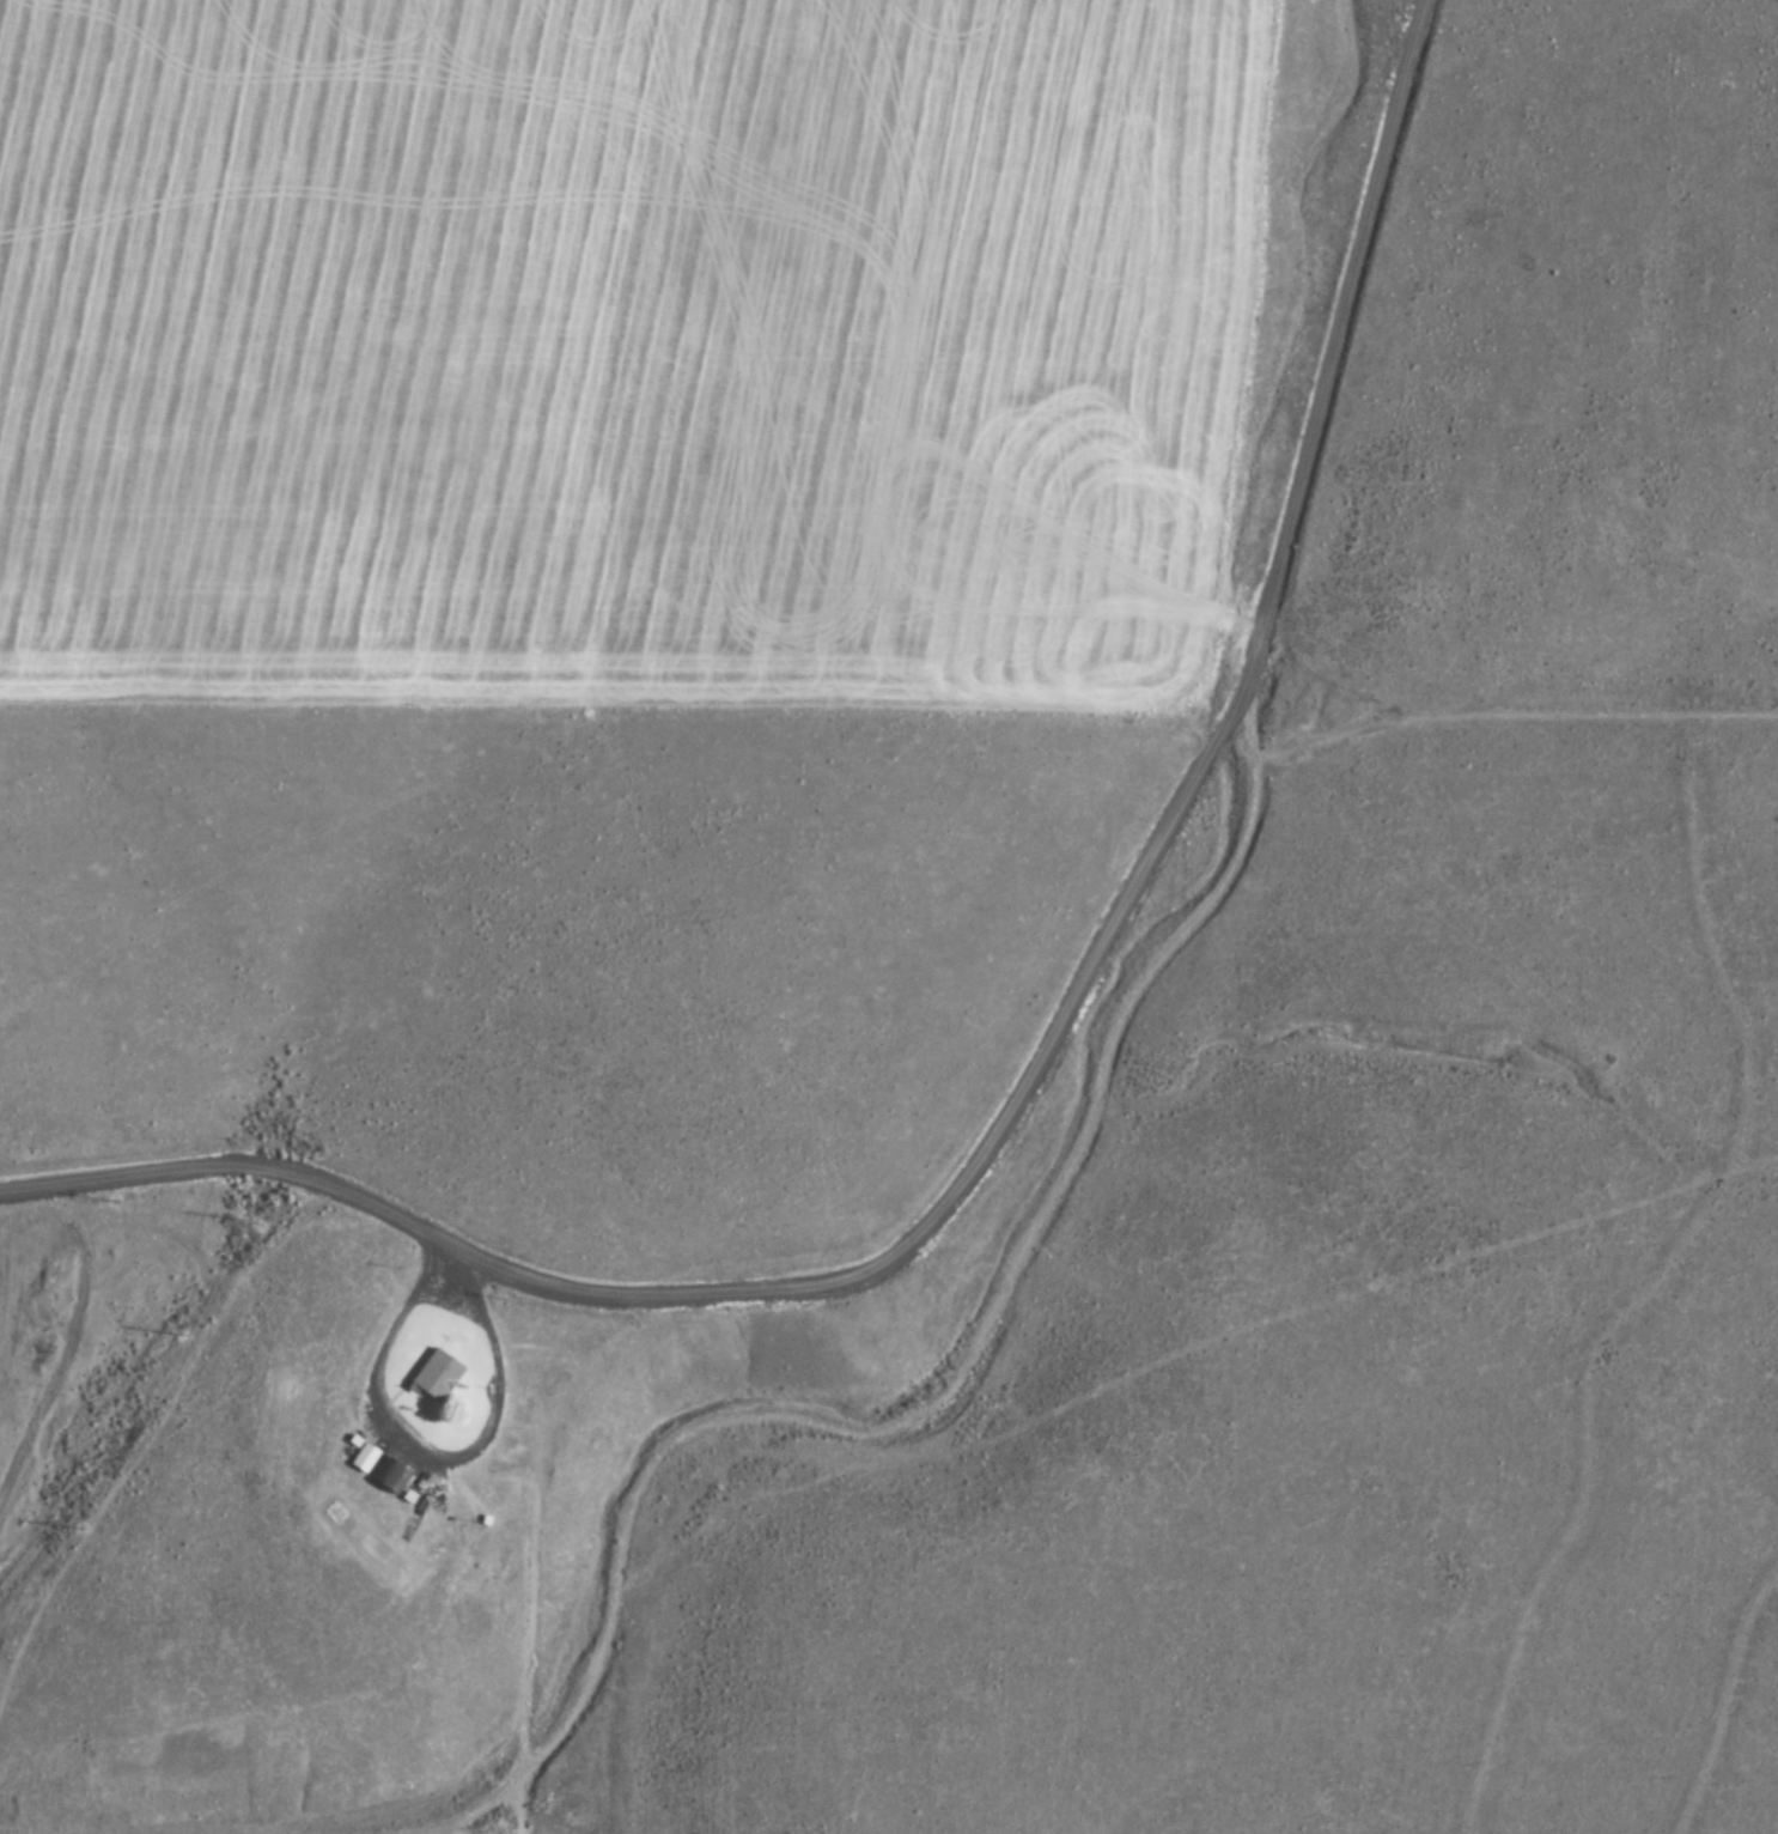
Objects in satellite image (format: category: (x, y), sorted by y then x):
road: (1028, 1075)
building: (431, 1378)
building: (386, 1478)

